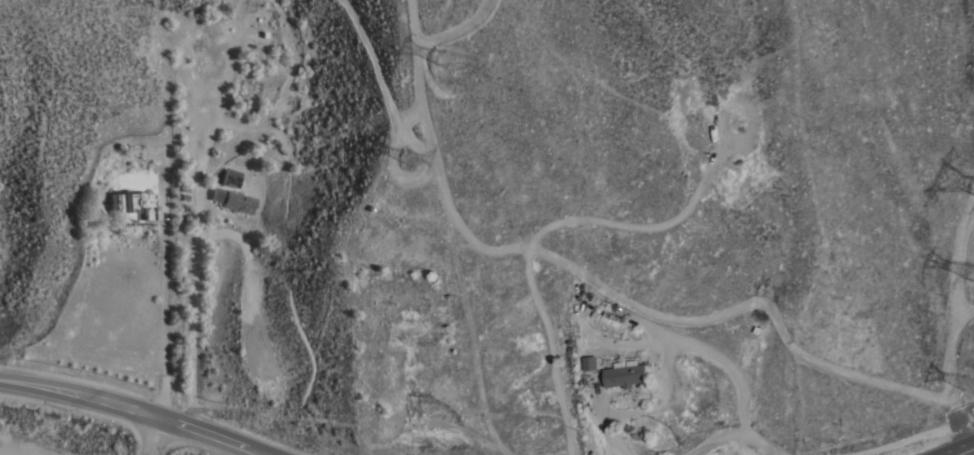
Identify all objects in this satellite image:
power tower: (464, 63)
power tower: (413, 155)
building: (230, 177)
building: (231, 200)
building: (131, 206)
road: (163, 288)
road: (190, 308)
building: (610, 319)
road: (664, 360)
building: (589, 364)
building: (625, 374)
road: (137, 413)
road: (152, 436)
road: (714, 439)
road: (759, 443)
road: (962, 450)

